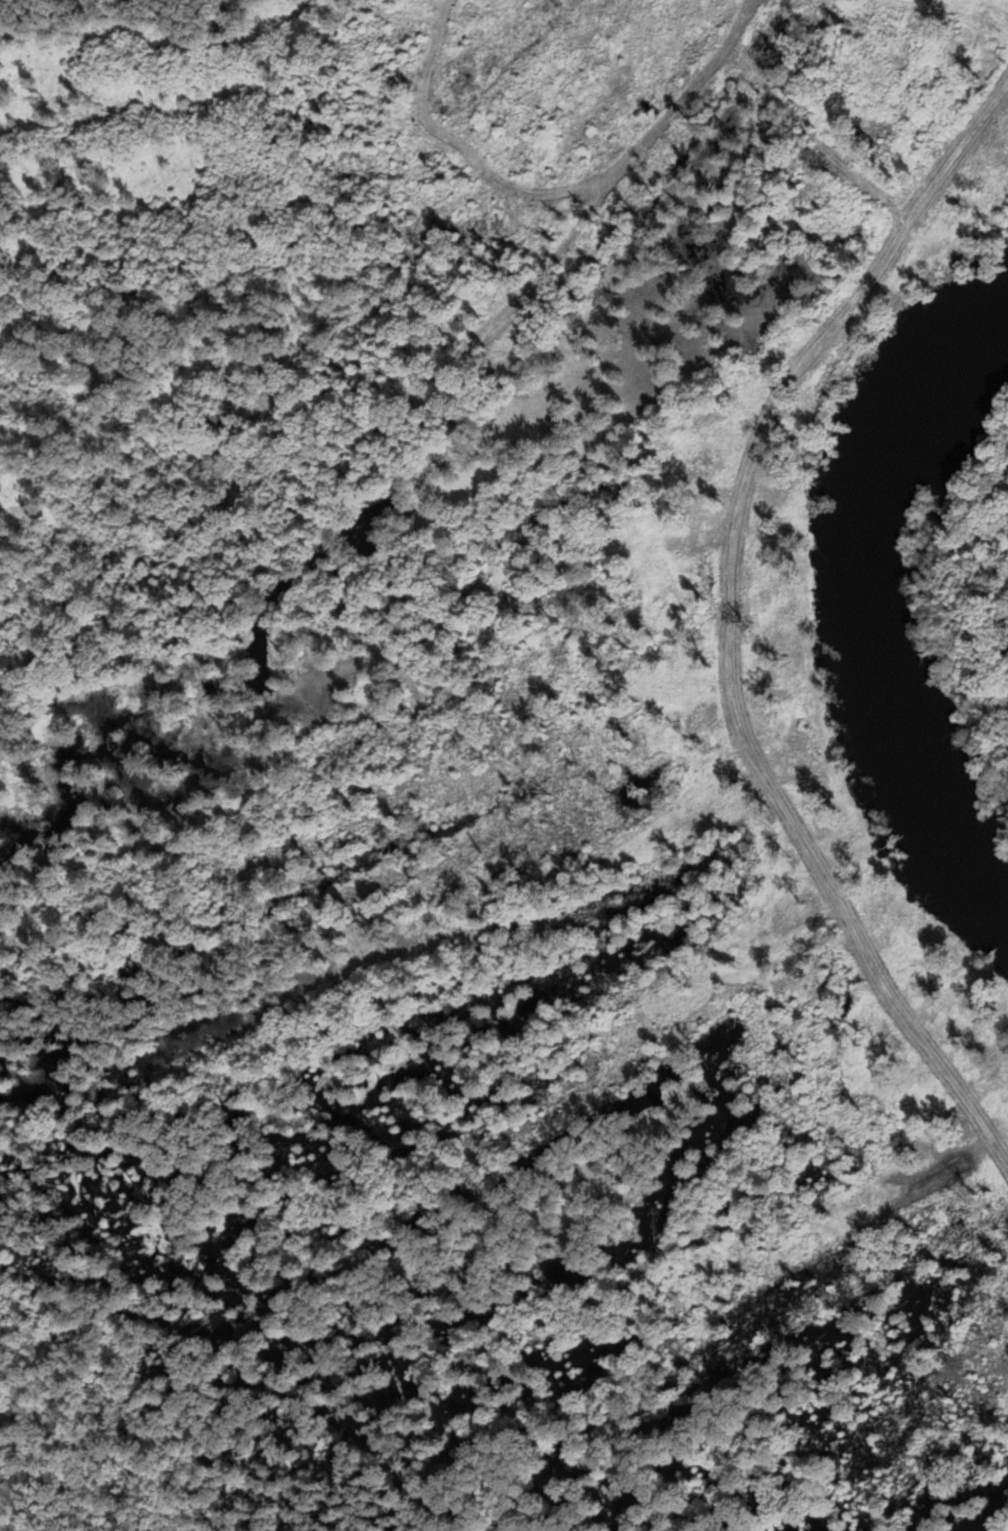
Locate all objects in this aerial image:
river: (919, 594)

